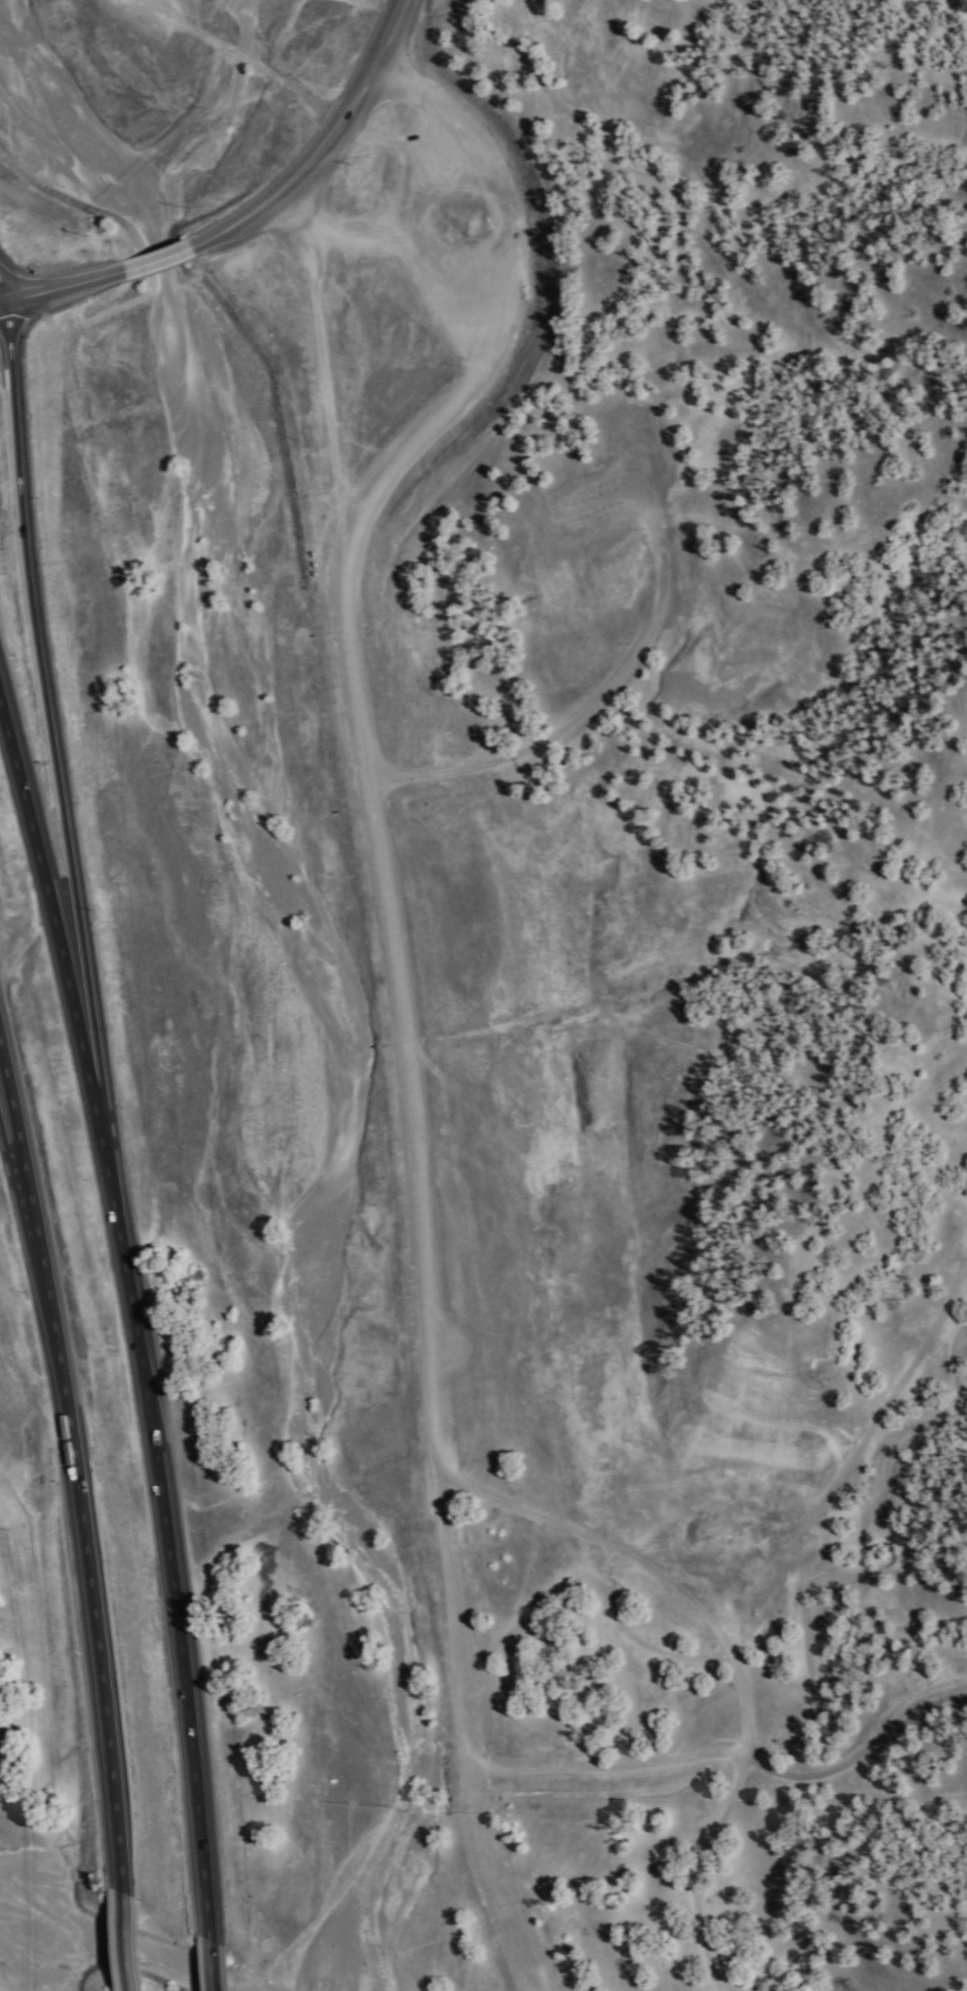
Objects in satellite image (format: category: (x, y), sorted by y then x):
road: (321, 142)
road: (157, 262)
road: (59, 290)
road: (2, 299)
road: (47, 692)
road: (375, 844)
road: (16, 1160)
road: (134, 1308)
road: (76, 1452)
road: (125, 1938)
river: (118, 1947)
road: (211, 1962)

